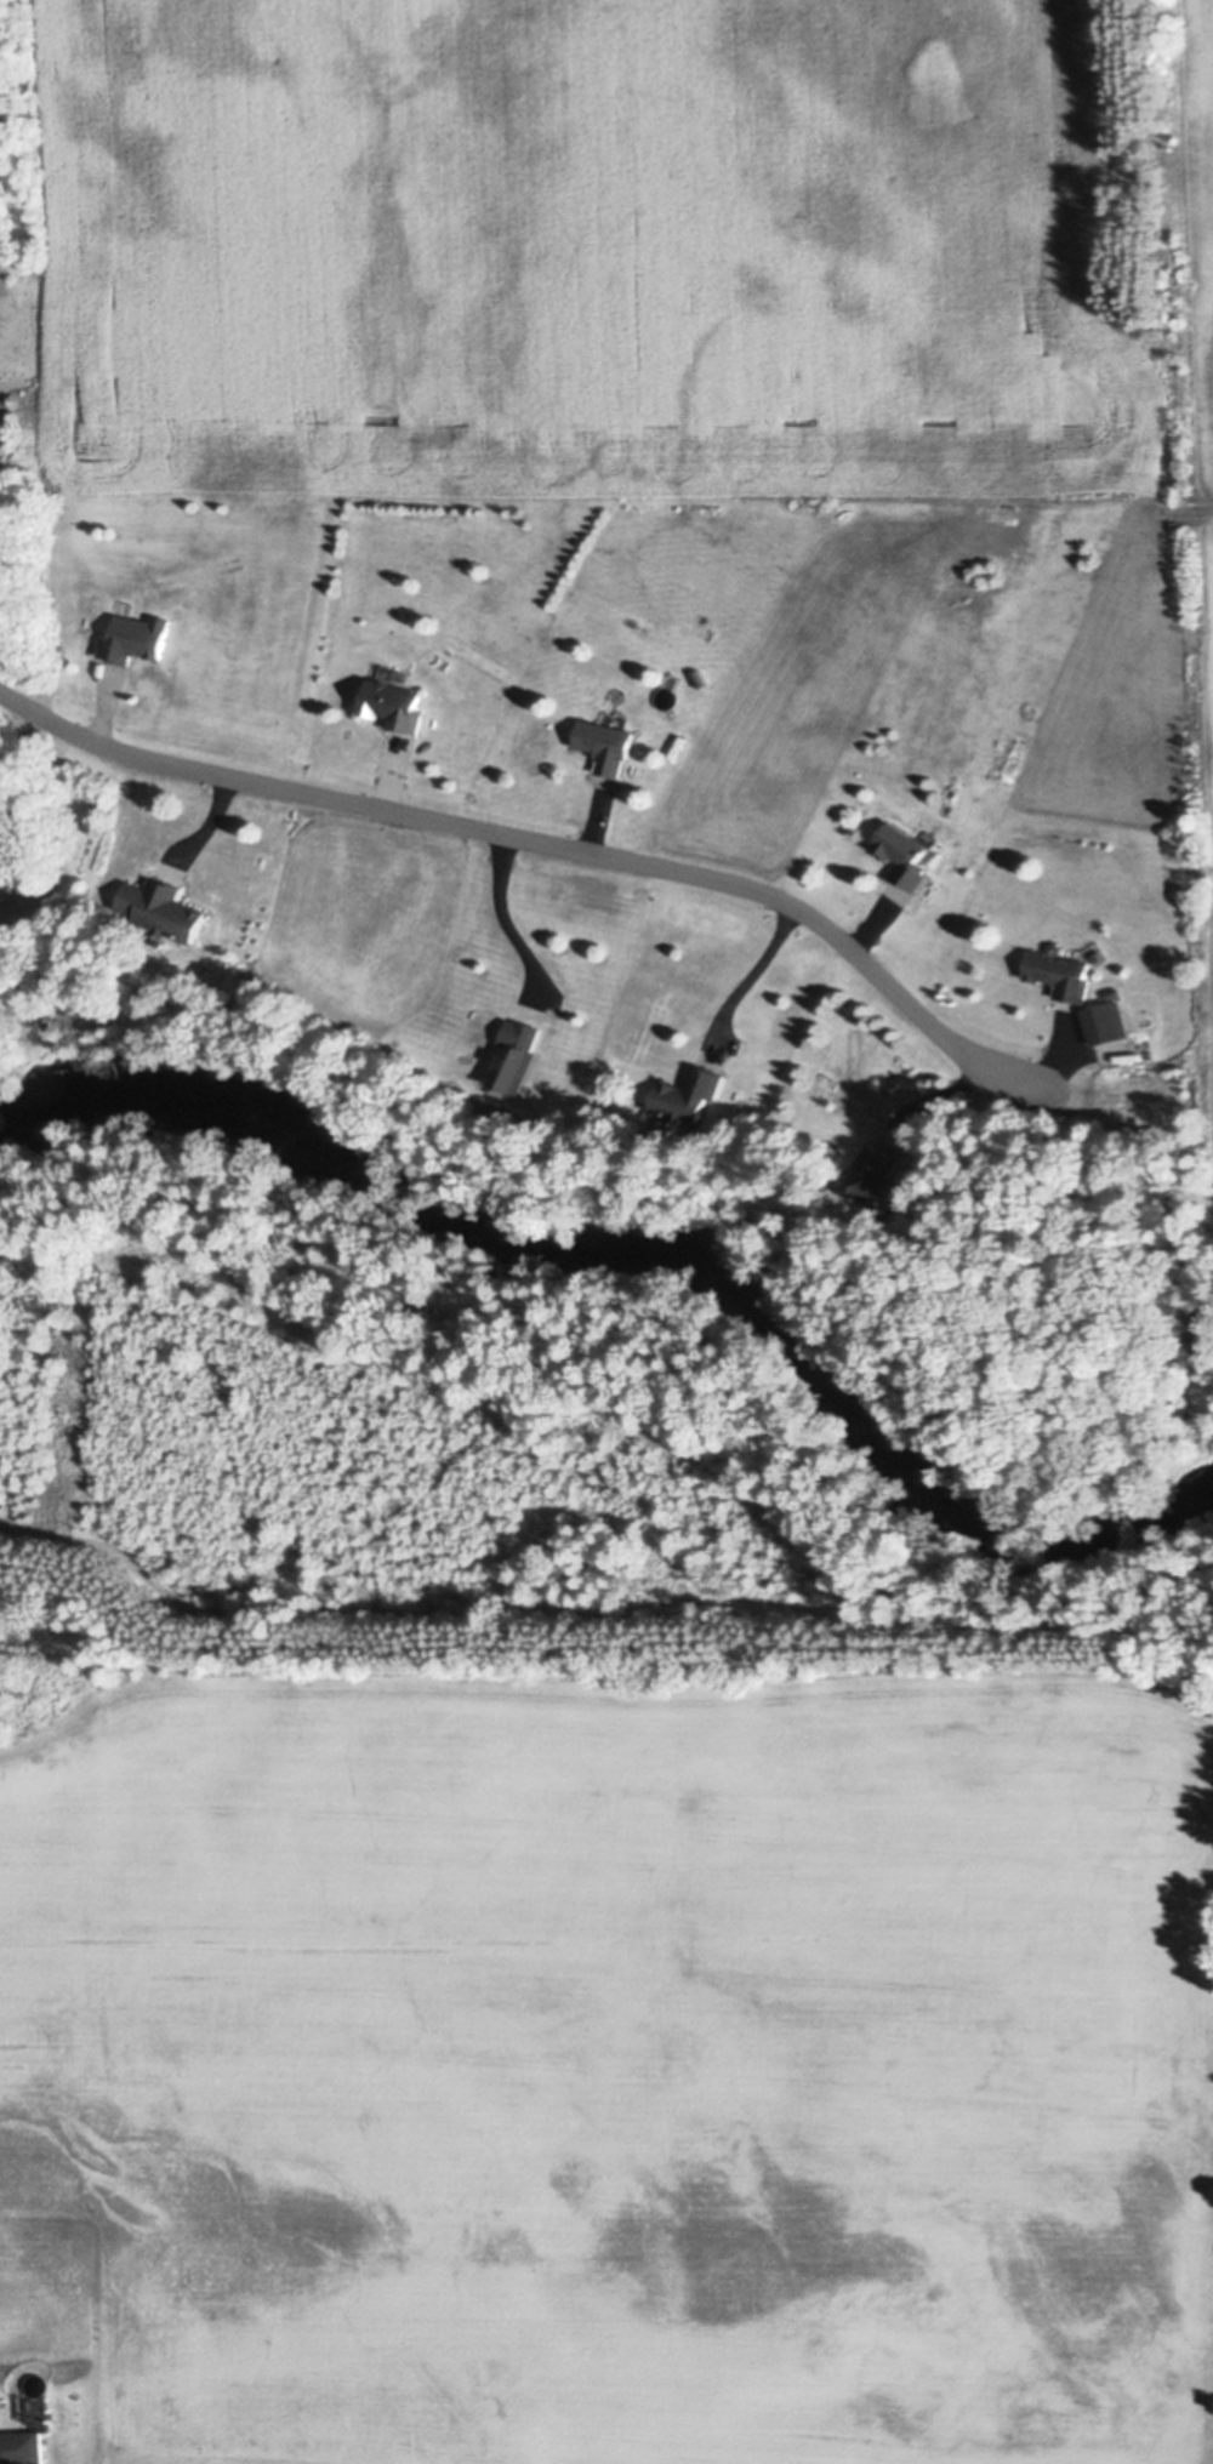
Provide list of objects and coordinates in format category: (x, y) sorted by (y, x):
building: (132, 639)
building: (392, 706)
building: (602, 747)
road: (540, 843)
building: (900, 856)
building: (160, 909)
road: (506, 916)
road: (757, 973)
building: (1059, 975)
building: (518, 1056)
building: (690, 1094)
building: (877, 1171)
river: (644, 1250)
building: (34, 2409)
building: (21, 2448)

